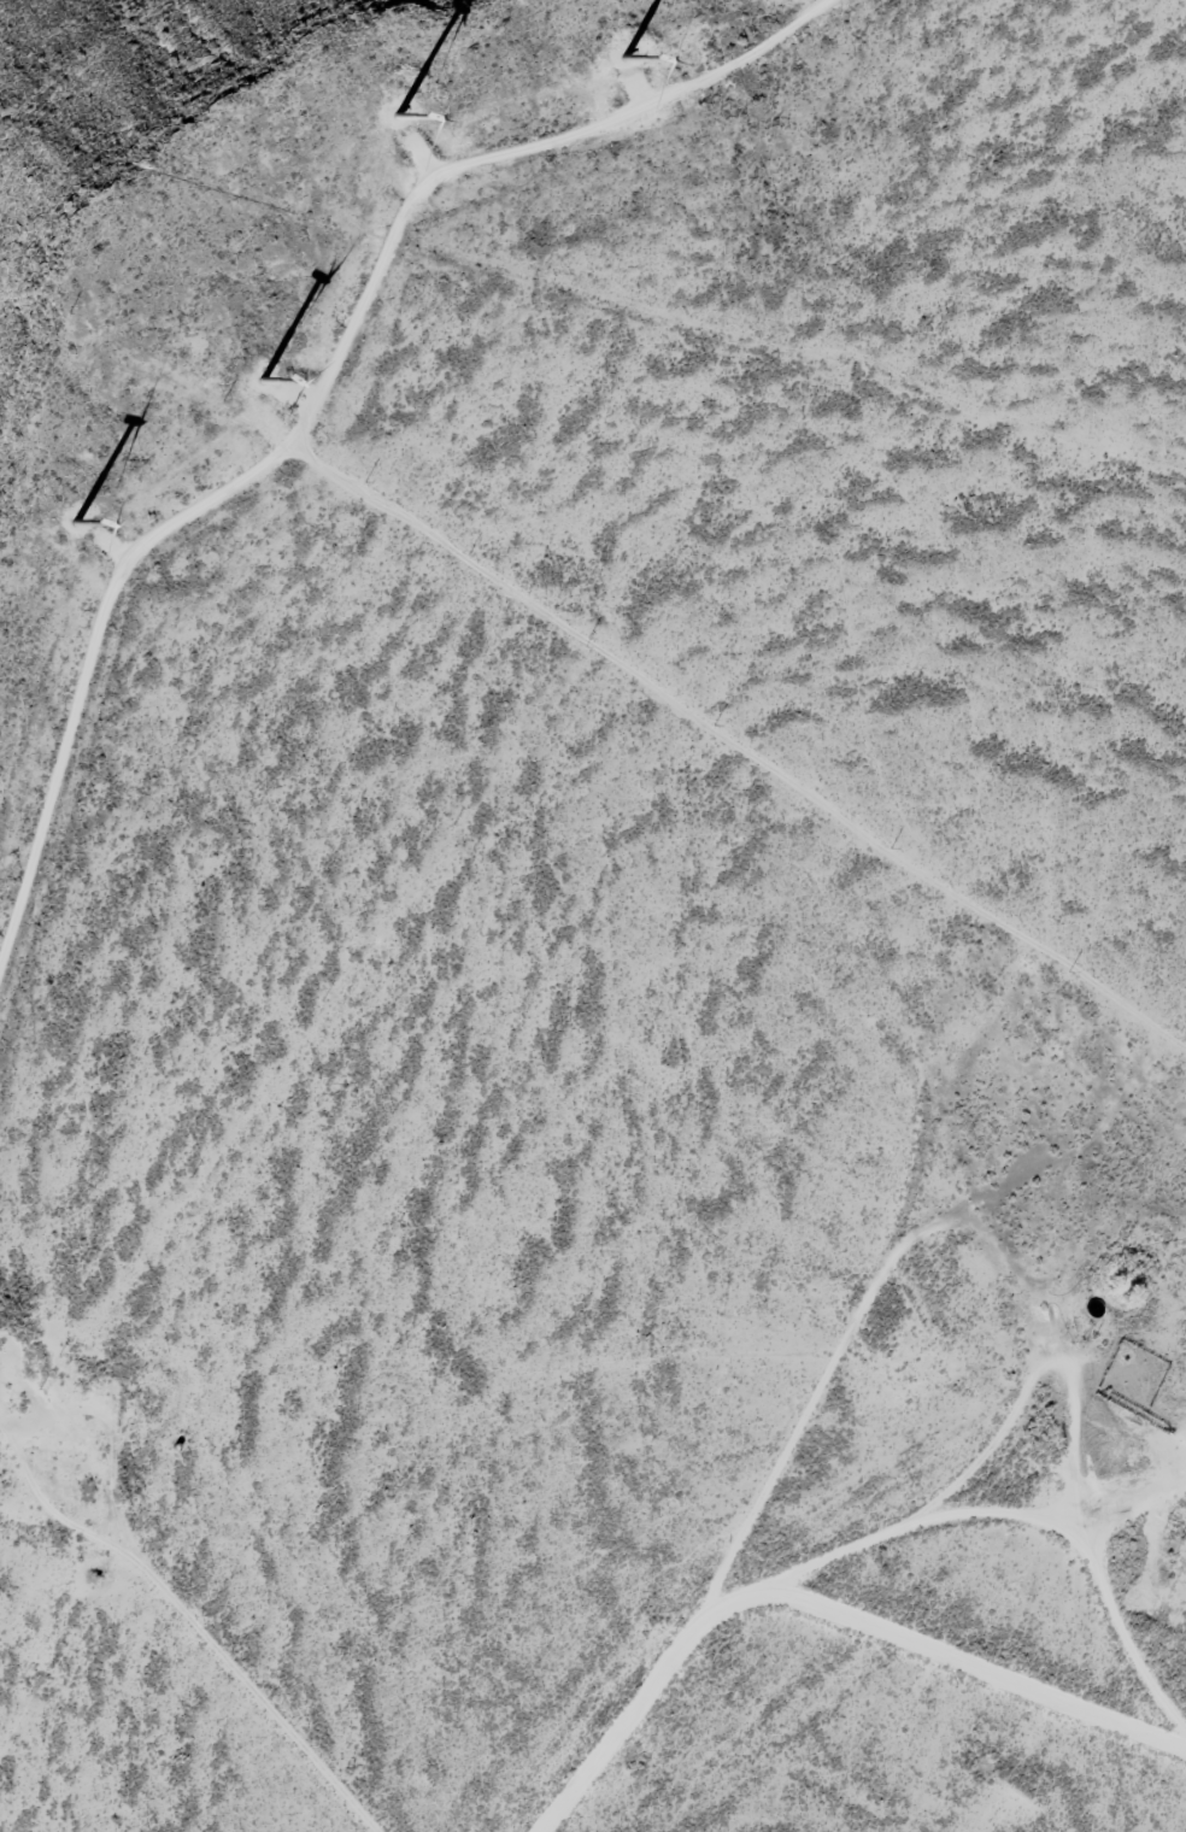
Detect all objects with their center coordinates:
wind turbine: (612, 65)
wind turbine: (382, 123)
wind turbine: (265, 370)
wind turbine: (52, 507)
road: (882, 1589)

